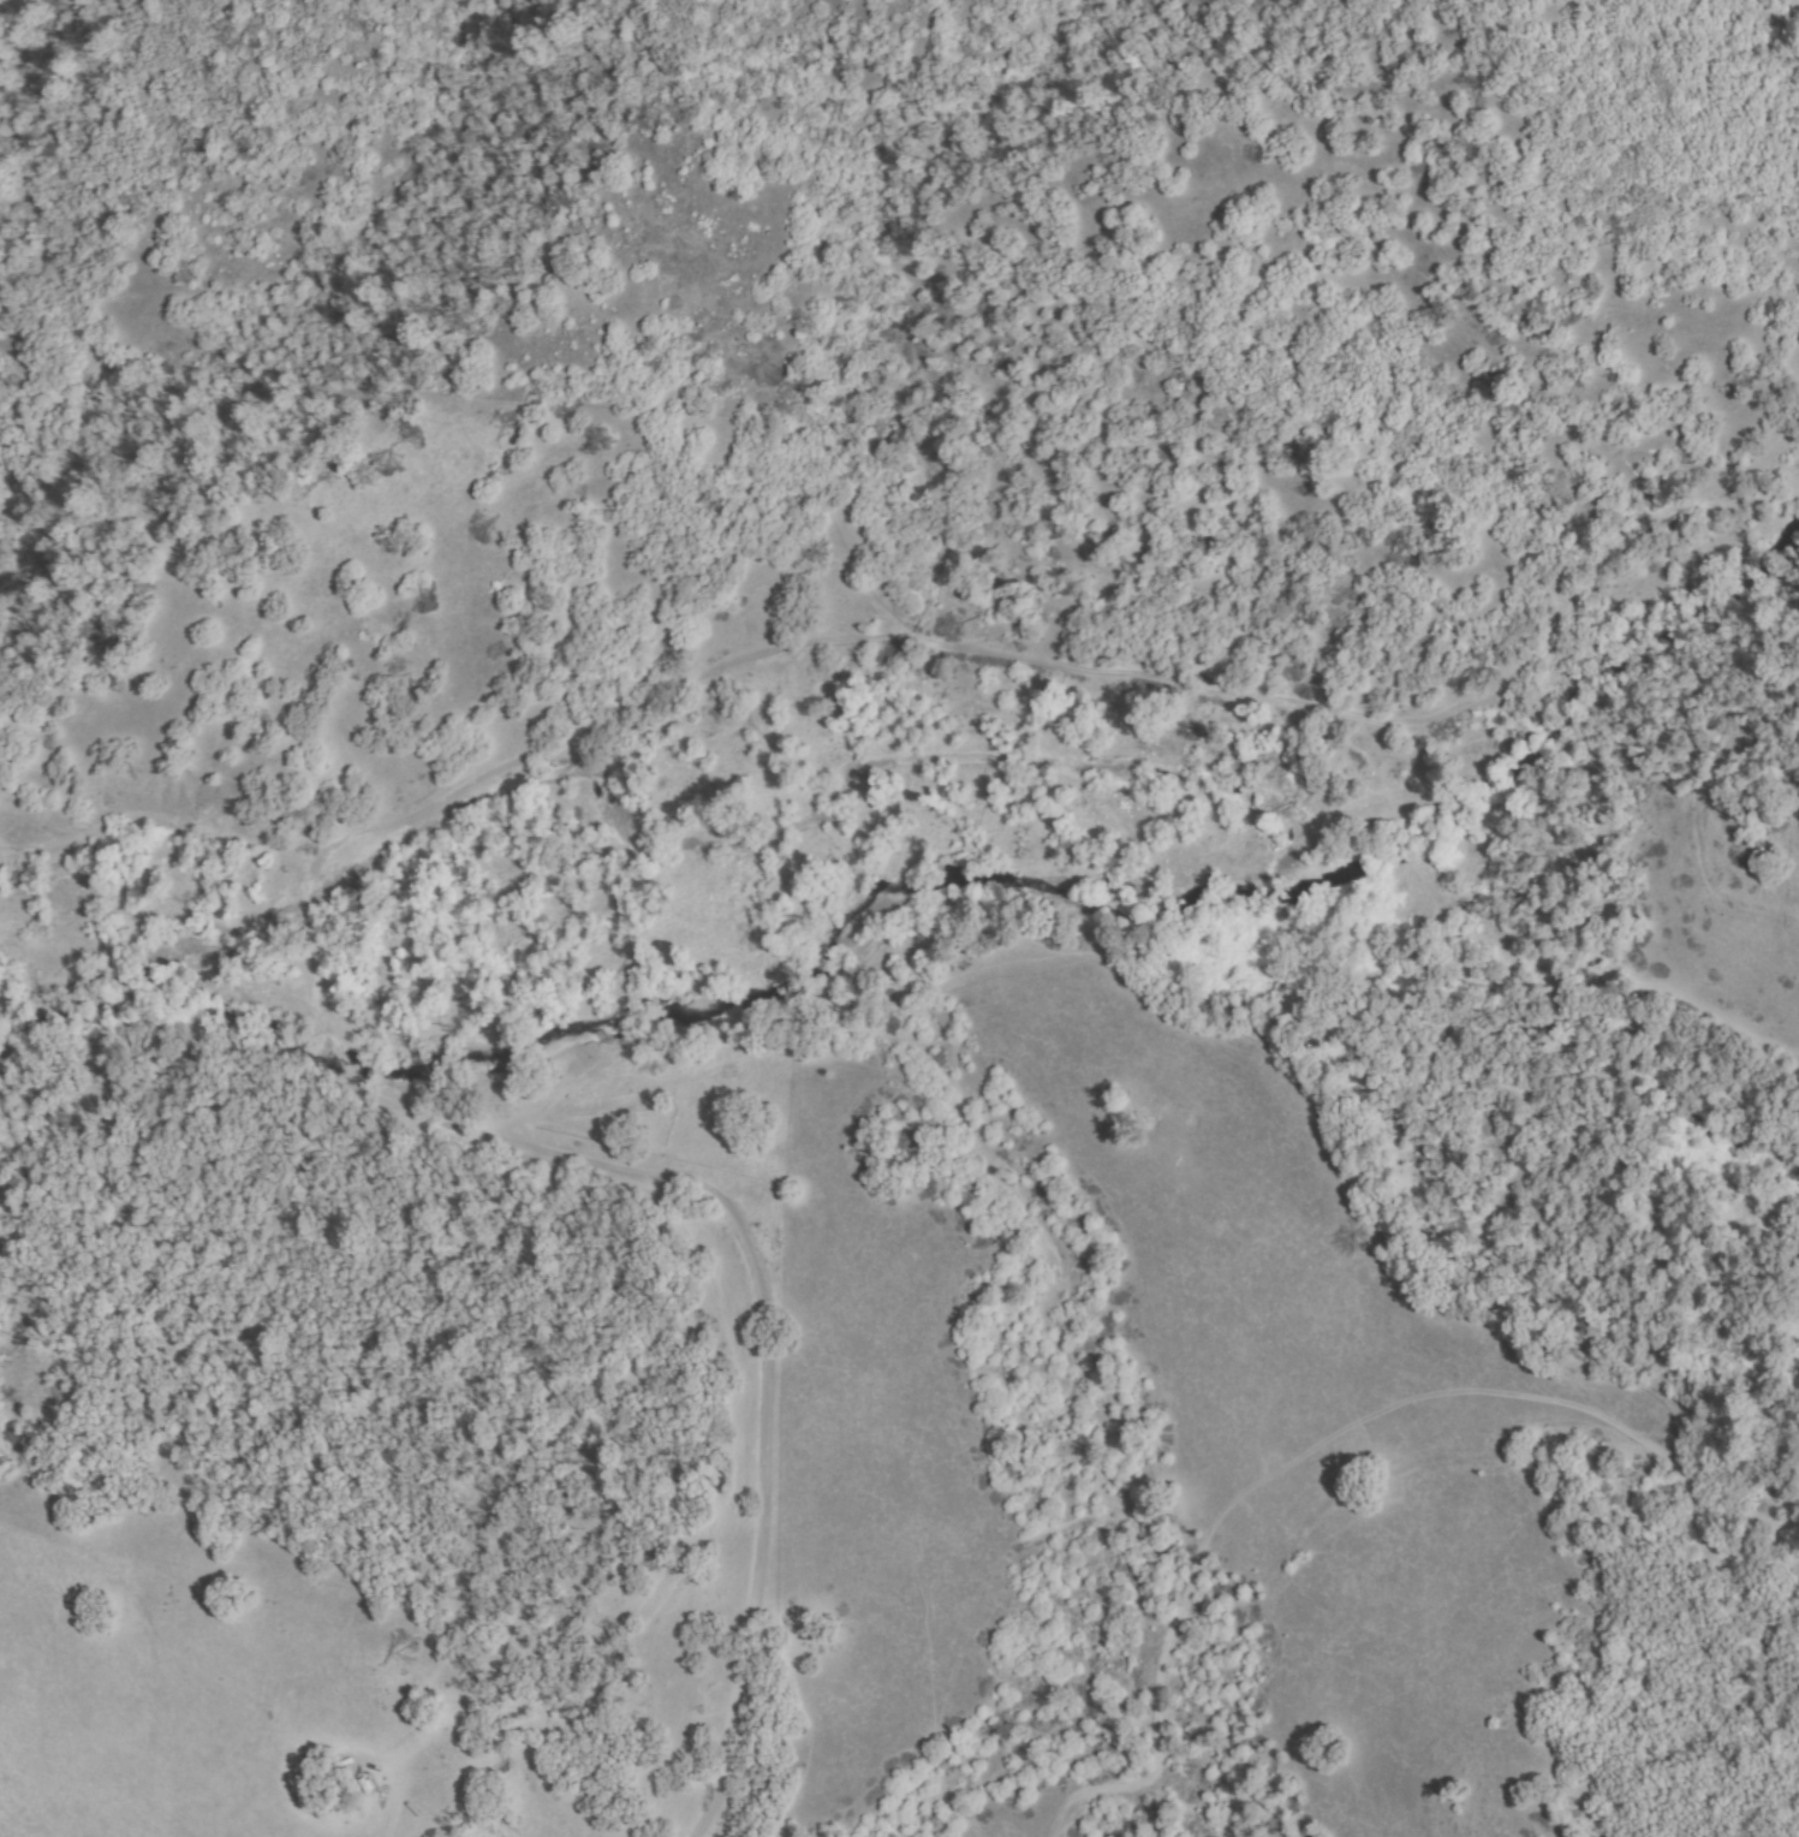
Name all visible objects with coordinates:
road: (492, 771)

